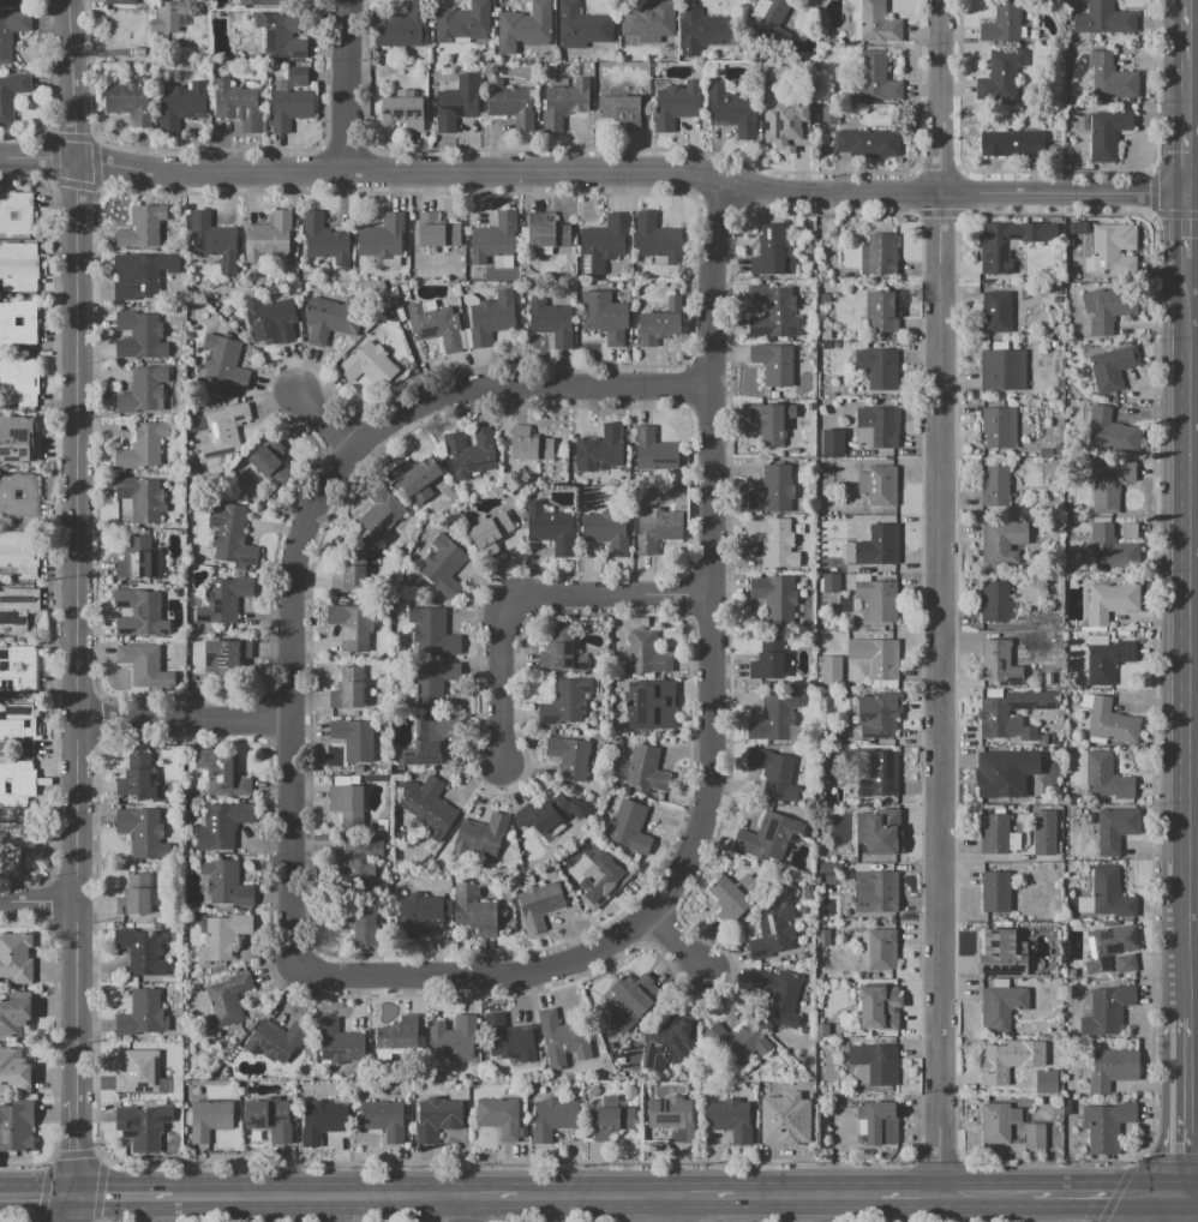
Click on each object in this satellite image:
building: (5, 1)
building: (120, 1)
building: (259, 2)
building: (168, 14)
building: (766, 17)
building: (1103, 19)
building: (462, 22)
building: (649, 22)
building: (874, 22)
building: (1002, 22)
building: (526, 24)
building: (401, 25)
building: (581, 26)
building: (701, 31)
building: (10, 32)
building: (281, 35)
road: (1181, 64)
building: (1002, 74)
building: (296, 77)
building: (1110, 77)
building: (876, 78)
road: (347, 86)
building: (128, 103)
building: (456, 103)
building: (563, 103)
building: (179, 104)
building: (238, 104)
building: (509, 104)
building: (675, 106)
building: (287, 107)
building: (6, 109)
building: (618, 109)
building: (402, 110)
building: (731, 110)
building: (827, 114)
building: (785, 125)
building: (1107, 133)
building: (865, 140)
building: (1012, 144)
road: (1181, 160)
road: (599, 172)
building: (16, 214)
road: (1181, 223)
building: (144, 228)
building: (435, 230)
building: (544, 232)
building: (654, 235)
building: (268, 236)
building: (211, 238)
building: (381, 238)
building: (493, 238)
building: (323, 240)
building: (601, 244)
building: (1008, 244)
building: (1110, 253)
building: (767, 254)
building: (881, 254)
building: (18, 268)
building: (140, 277)
building: (1110, 309)
building: (995, 311)
building: (772, 312)
building: (881, 312)
building: (603, 317)
building: (272, 318)
building: (491, 318)
building: (329, 319)
building: (551, 322)
building: (657, 322)
building: (18, 323)
building: (433, 325)
building: (142, 333)
building: (222, 360)
building: (773, 363)
building: (366, 366)
building: (876, 369)
building: (1110, 369)
building: (1001, 370)
building: (19, 381)
building: (142, 390)
road: (325, 423)
building: (767, 424)
building: (877, 425)
building: (998, 429)
building: (220, 430)
building: (1115, 431)
building: (17, 441)
building: (831, 443)
building: (528, 444)
building: (142, 447)
building: (600, 449)
building: (653, 451)
building: (471, 453)
building: (258, 471)
building: (418, 479)
building: (879, 485)
building: (1109, 485)
building: (994, 487)
building: (772, 491)
building: (18, 496)
building: (140, 498)
building: (381, 513)
road: (309, 520)
building: (551, 529)
building: (657, 531)
building: (1128, 531)
building: (490, 533)
building: (606, 533)
building: (230, 534)
building: (773, 541)
building: (1000, 544)
building: (876, 546)
building: (1110, 550)
road: (76, 551)
building: (19, 553)
building: (134, 558)
building: (443, 567)
building: (351, 577)
building: (831, 583)
road: (527, 594)
building: (773, 594)
road: (939, 594)
building: (224, 599)
building: (876, 601)
building: (994, 601)
building: (1110, 603)
building: (17, 607)
building: (139, 612)
building: (1048, 622)
building: (352, 627)
building: (432, 631)
road: (1181, 634)
building: (1044, 652)
building: (562, 653)
building: (224, 654)
building: (646, 654)
building: (873, 655)
building: (767, 660)
building: (1107, 660)
building: (999, 663)
building: (145, 666)
building: (17, 669)
building: (831, 670)
building: (1048, 678)
building: (435, 681)
building: (348, 689)
building: (565, 701)
building: (651, 706)
building: (876, 717)
building: (774, 719)
road: (184, 720)
building: (1000, 720)
building: (1110, 723)
building: (17, 727)
road: (709, 733)
building: (354, 739)
building: (431, 741)
building: (1047, 741)
building: (570, 757)
building: (646, 771)
building: (221, 774)
building: (773, 774)
building: (995, 775)
building: (1104, 775)
building: (876, 777)
building: (138, 779)
building: (17, 783)
building: (347, 805)
building: (429, 807)
building: (545, 814)
building: (222, 823)
building: (628, 827)
building: (1114, 829)
building: (143, 832)
building: (879, 832)
building: (993, 833)
building: (1043, 833)
building: (480, 835)
building: (769, 837)
building: (14, 844)
building: (359, 863)
building: (599, 871)
building: (226, 883)
building: (874, 892)
building: (995, 894)
building: (136, 895)
building: (1109, 895)
building: (729, 901)
road: (37, 904)
building: (539, 904)
building: (474, 911)
building: (421, 912)
building: (363, 923)
building: (771, 933)
building: (221, 935)
building: (822, 938)
road: (678, 941)
building: (1108, 947)
building: (880, 950)
building: (140, 952)
building: (1000, 956)
building: (16, 958)
building: (1125, 964)
building: (779, 996)
building: (629, 998)
building: (227, 1000)
building: (1001, 1007)
building: (882, 1010)
building: (1107, 1010)
building: (140, 1013)
building: (13, 1017)
building: (453, 1038)
building: (509, 1038)
building: (563, 1038)
building: (275, 1040)
building: (395, 1040)
building: (339, 1042)
building: (669, 1044)
building: (735, 1044)
building: (875, 1064)
building: (994, 1066)
building: (144, 1070)
building: (1112, 1070)
building: (14, 1071)
building: (1046, 1082)
road: (1184, 1102)
building: (784, 1109)
building: (1013, 1115)
building: (499, 1116)
building: (269, 1118)
building: (438, 1118)
building: (553, 1118)
building: (859, 1118)
road: (76, 1119)
building: (209, 1119)
building: (385, 1119)
building: (672, 1119)
building: (611, 1120)
building: (322, 1121)
building: (730, 1121)
building: (876, 1122)
building: (17, 1125)
building: (995, 1125)
building: (143, 1126)
building: (1106, 1126)
building: (789, 1130)
building: (1034, 1137)
traffic signals: (76, 1151)
road: (1143, 1154)
road: (1172, 1156)
road: (73, 1163)
road: (1128, 1164)
road: (699, 1190)
road: (807, 1190)
road: (909, 1190)
road: (591, 1191)
road: (986, 1191)
road: (1074, 1191)
road: (1150, 1191)
road: (324, 1192)
road: (486, 1192)
traffic signals: (1185, 1192)
road: (1191, 1192)
road: (34, 1193)
traffic signals: (38, 1193)
traffic signals: (103, 1193)
road: (131, 1193)
road: (1114, 1194)
road: (455, 1206)
road: (665, 1206)
road: (1161, 1206)
road: (1172, 1206)
road: (1180, 1206)
road: (65, 1208)

